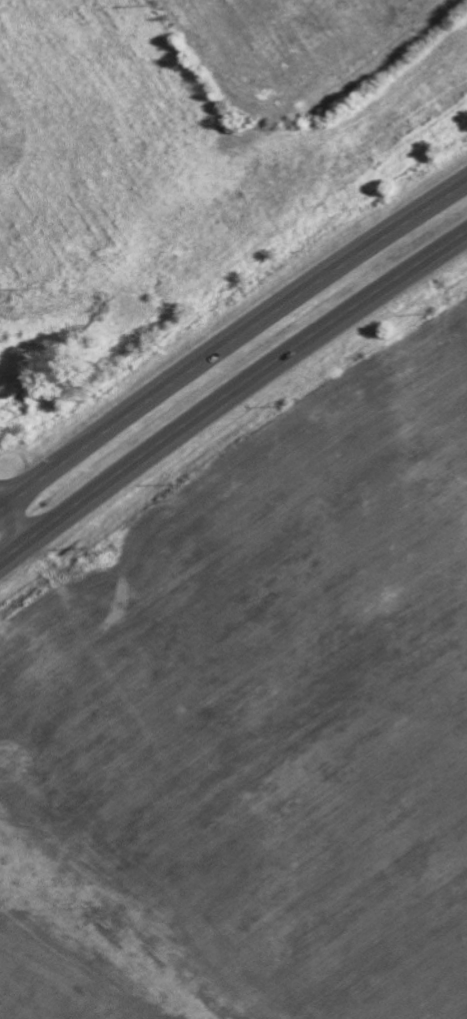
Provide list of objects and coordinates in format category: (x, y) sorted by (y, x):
road: (230, 336)
road: (230, 398)
road: (18, 523)

